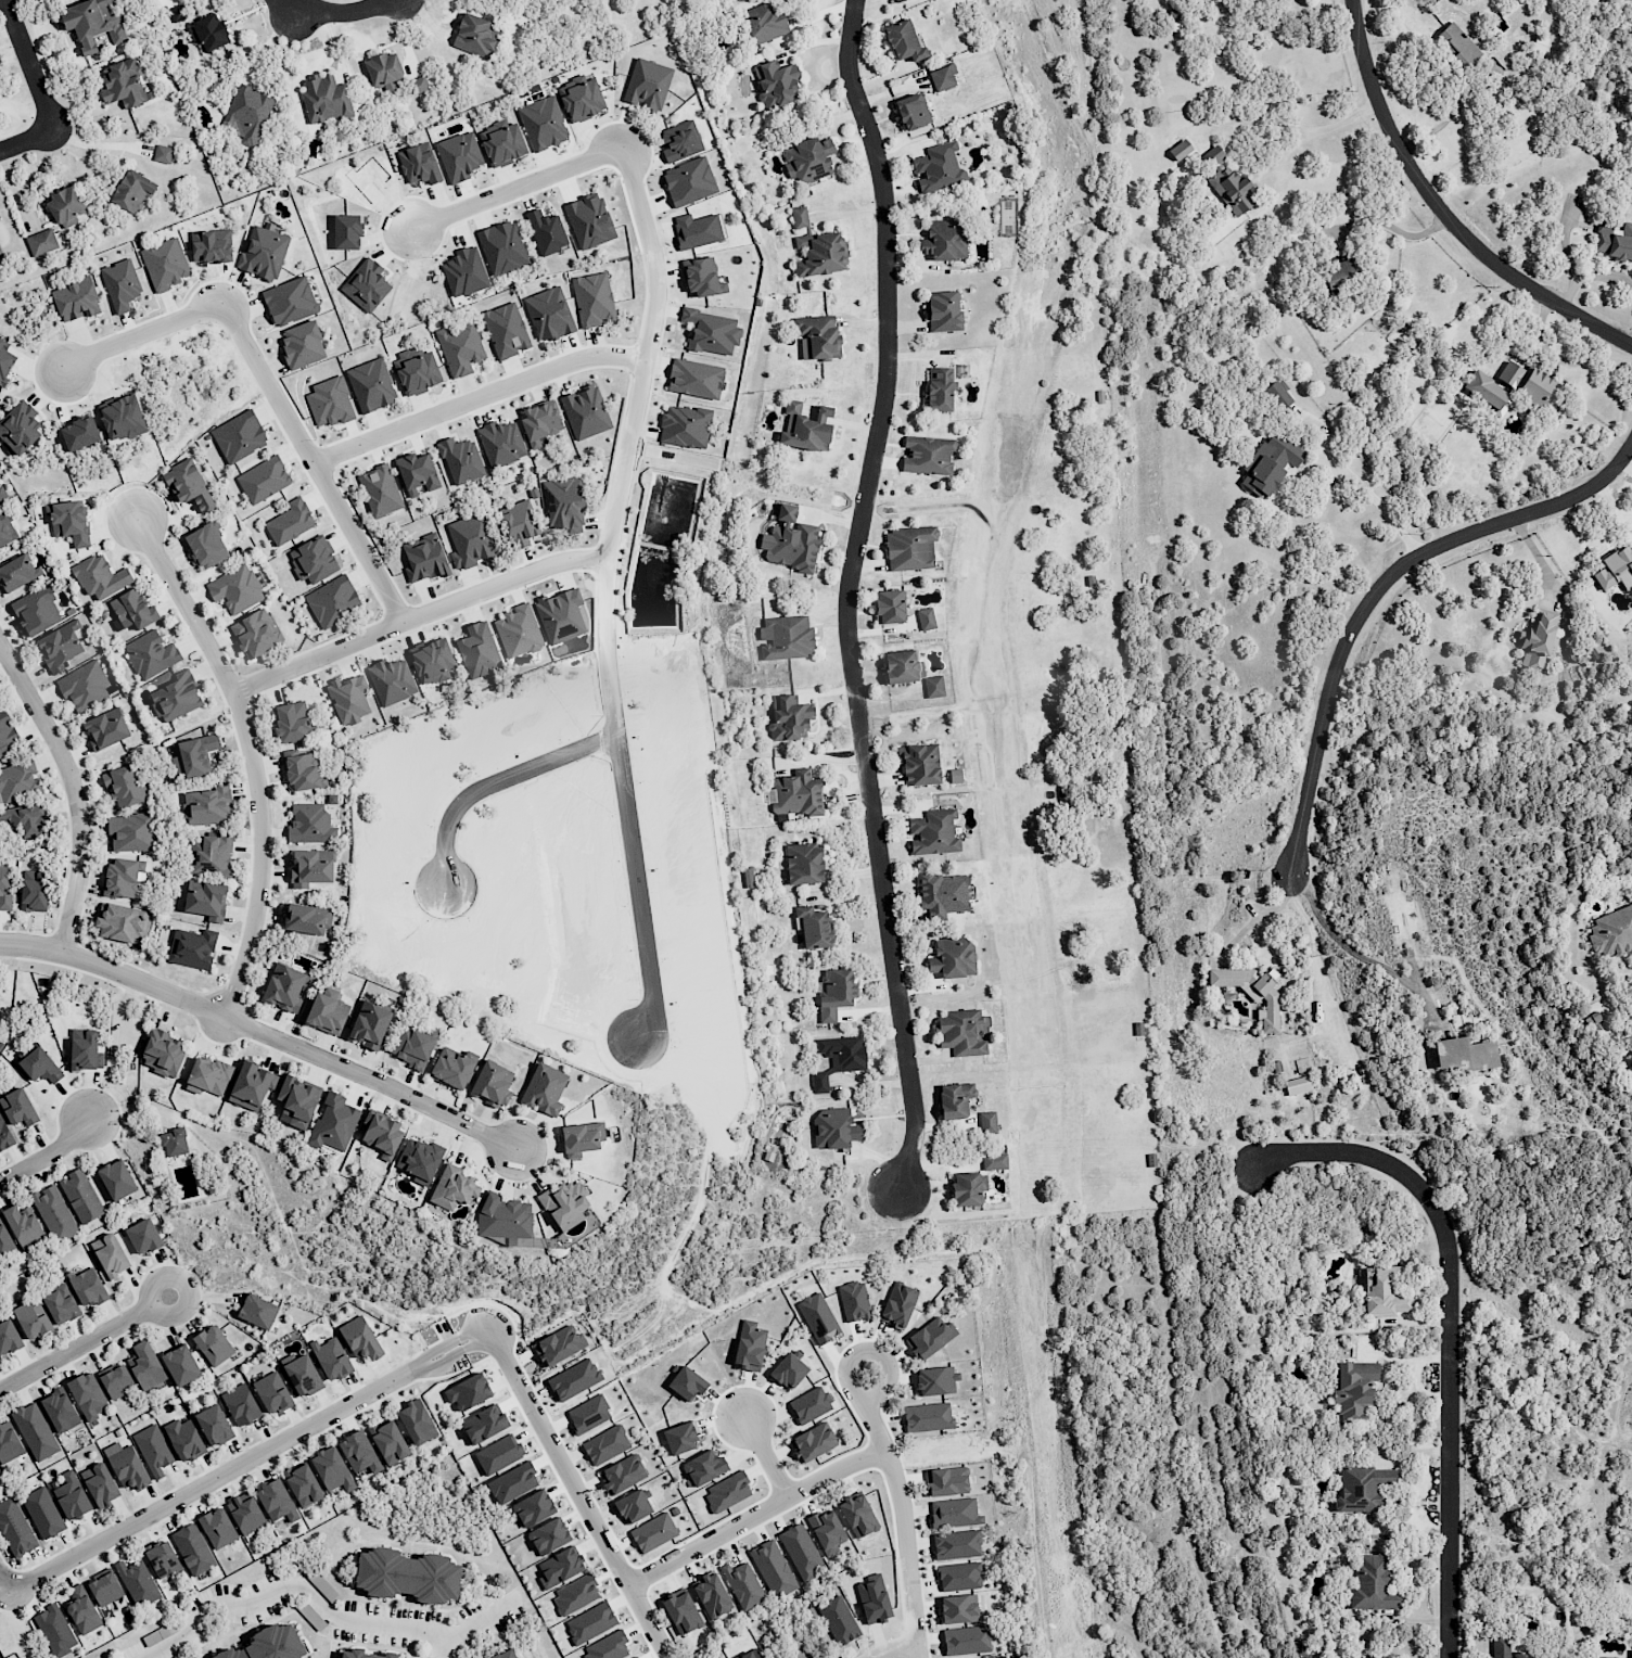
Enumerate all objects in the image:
building: (893, 0)
road: (295, 11)
road: (348, 11)
building: (178, 12)
building: (89, 24)
building: (762, 24)
building: (207, 31)
building: (474, 34)
road: (29, 64)
building: (392, 74)
building: (942, 81)
building: (649, 86)
building: (579, 90)
building: (323, 99)
building: (537, 106)
building: (913, 114)
building: (247, 115)
road: (1453, 116)
road: (1293, 128)
road: (26, 139)
road: (100, 144)
building: (162, 154)
road: (514, 188)
building: (1231, 190)
building: (141, 191)
building: (74, 204)
road: (1441, 213)
road: (1391, 227)
building: (946, 243)
building: (1615, 245)
building: (0, 254)
building: (266, 256)
building: (824, 259)
building: (167, 266)
road: (1591, 278)
building: (703, 281)
building: (124, 286)
building: (78, 303)
building: (595, 303)
building: (292, 305)
building: (550, 317)
building: (943, 319)
road: (139, 332)
building: (505, 334)
building: (712, 335)
road: (1630, 342)
building: (305, 348)
building: (461, 352)
building: (5, 365)
building: (418, 374)
building: (1529, 383)
building: (372, 388)
road: (640, 388)
building: (936, 388)
building: (1487, 392)
building: (1277, 394)
road: (475, 397)
building: (586, 414)
building: (543, 426)
building: (685, 430)
building: (20, 432)
building: (809, 435)
building: (241, 441)
building: (503, 446)
building: (926, 455)
road: (310, 463)
building: (1270, 463)
building: (463, 464)
building: (419, 476)
building: (192, 488)
road: (1370, 496)
building: (564, 500)
building: (67, 522)
building: (785, 533)
building: (470, 535)
building: (908, 548)
building: (1615, 569)
building: (17, 578)
road: (1376, 586)
road: (847, 595)
building: (889, 605)
road: (420, 617)
building: (925, 618)
building: (1539, 638)
building: (902, 665)
building: (933, 686)
building: (293, 726)
building: (106, 732)
road: (252, 756)
building: (196, 757)
building: (919, 764)
road: (493, 785)
road: (73, 790)
building: (933, 832)
road: (629, 834)
building: (204, 857)
building: (805, 863)
building: (306, 864)
building: (119, 877)
building: (749, 877)
building: (30, 890)
building: (943, 894)
building: (203, 900)
building: (303, 918)
building: (118, 922)
building: (813, 926)
building: (1611, 931)
building: (192, 947)
road: (1352, 951)
building: (952, 958)
building: (283, 986)
building: (833, 993)
building: (1270, 1004)
building: (324, 1011)
road: (222, 1022)
building: (368, 1024)
road: (262, 1032)
building: (960, 1033)
building: (411, 1046)
building: (82, 1049)
building: (162, 1051)
building: (842, 1051)
building: (1464, 1054)
building: (1631, 1064)
building: (38, 1066)
building: (450, 1068)
building: (204, 1075)
building: (818, 1082)
building: (490, 1083)
building: (250, 1085)
building: (1297, 1085)
building: (544, 1092)
building: (296, 1100)
building: (18, 1109)
building: (965, 1109)
building: (333, 1123)
building: (833, 1128)
building: (382, 1135)
building: (579, 1138)
building: (173, 1142)
road: (49, 1157)
building: (418, 1159)
building: (994, 1161)
building: (115, 1179)
building: (452, 1187)
building: (968, 1188)
building: (79, 1196)
building: (564, 1204)
building: (53, 1213)
building: (503, 1217)
building: (27, 1225)
building: (142, 1236)
building: (111, 1255)
building: (87, 1287)
road: (150, 1291)
building: (1384, 1292)
building: (60, 1304)
building: (256, 1311)
building: (817, 1317)
building: (29, 1322)
road: (1452, 1328)
building: (930, 1337)
building: (359, 1339)
building: (8, 1340)
building: (213, 1344)
building: (560, 1344)
building: (749, 1345)
road: (76, 1348)
building: (330, 1359)
building: (144, 1365)
building: (180, 1365)
building: (788, 1372)
building: (301, 1376)
building: (935, 1380)
building: (115, 1381)
building: (1352, 1388)
building: (271, 1393)
building: (87, 1395)
building: (240, 1404)
building: (59, 1411)
building: (927, 1417)
building: (416, 1421)
building: (214, 1425)
building: (35, 1431)
building: (679, 1438)
building: (183, 1439)
building: (388, 1442)
building: (812, 1442)
building: (605, 1444)
building: (153, 1450)
building: (358, 1452)
road: (768, 1457)
road: (251, 1458)
building: (126, 1466)
building: (331, 1469)
building: (622, 1474)
building: (946, 1481)
building: (100, 1484)
building: (303, 1484)
road: (578, 1488)
building: (1361, 1488)
building: (727, 1491)
building: (72, 1495)
building: (276, 1502)
building: (632, 1506)
building: (533, 1508)
road: (904, 1512)
building: (42, 1513)
building: (245, 1513)
building: (954, 1513)
road: (758, 1515)
building: (857, 1515)
building: (217, 1528)
building: (16, 1529)
building: (826, 1531)
building: (652, 1532)
building: (548, 1536)
building: (956, 1544)
building: (192, 1548)
building: (801, 1552)
building: (162, 1559)
building: (560, 1566)
building: (773, 1568)
building: (413, 1576)
building: (958, 1576)
road: (5, 1582)
building: (137, 1582)
building: (1372, 1583)
building: (742, 1584)
building: (322, 1585)
building: (105, 1586)
building: (574, 1595)
building: (711, 1595)
building: (958, 1608)
building: (81, 1609)
road: (326, 1610)
building: (681, 1611)
building: (589, 1622)
road: (18, 1625)
building: (54, 1631)
building: (966, 1640)
building: (279, 1645)
road: (441, 1646)
building: (607, 1646)
building: (1503, 1648)
road: (900, 1650)
building: (1629, 1653)
building: (512, 1654)
road: (664, 1655)
building: (365, 1656)
building: (1367, 1656)
building: (983, 1657)

